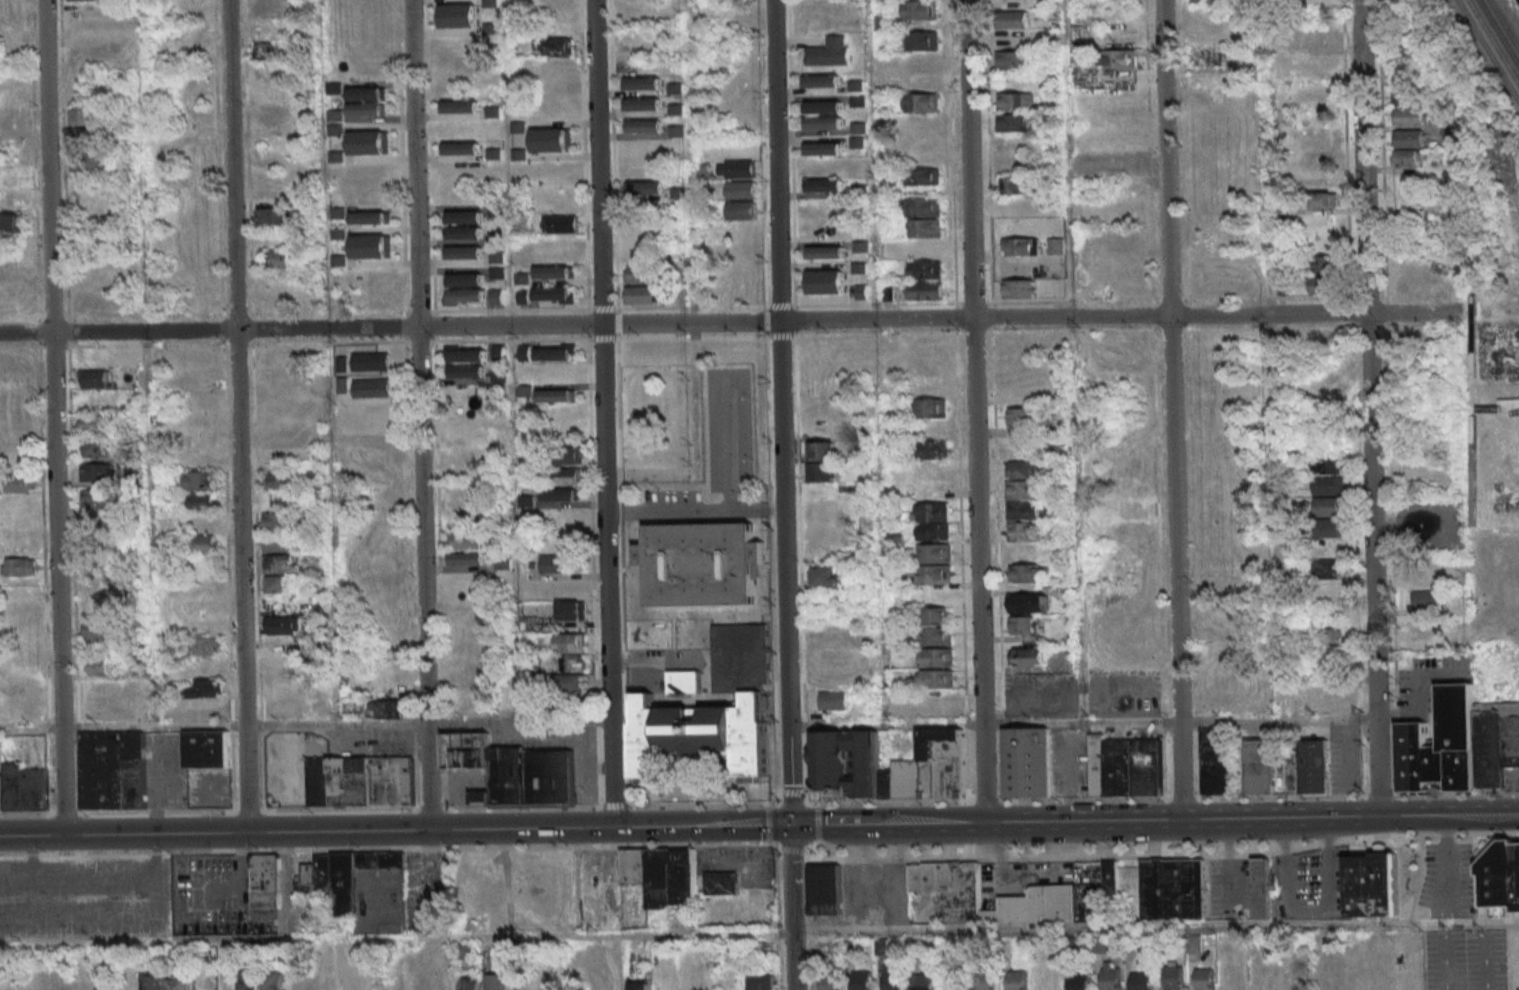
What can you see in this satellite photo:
building: (85, 0)
building: (1205, 0)
building: (491, 3)
building: (1012, 3)
building: (920, 11)
building: (459, 15)
building: (1012, 20)
railway: (1503, 26)
railway: (1497, 35)
building: (1313, 37)
building: (1010, 40)
building: (922, 41)
railway: (1493, 42)
building: (554, 46)
railway: (1488, 51)
building: (829, 52)
building: (266, 53)
building: (1407, 55)
building: (1209, 57)
building: (1119, 59)
building: (1013, 61)
building: (1406, 76)
building: (821, 80)
building: (923, 82)
building: (653, 84)
building: (368, 94)
building: (1406, 96)
building: (1016, 102)
building: (923, 103)
building: (644, 104)
building: (470, 108)
building: (677, 108)
building: (827, 108)
building: (370, 113)
building: (85, 116)
building: (1410, 117)
building: (1013, 123)
building: (829, 124)
building: (920, 124)
building: (647, 127)
building: (677, 131)
building: (85, 136)
building: (1408, 138)
building: (551, 139)
building: (369, 142)
building: (924, 146)
building: (822, 148)
building: (468, 149)
road: (1362, 156)
building: (1409, 161)
building: (90, 164)
building: (737, 169)
building: (923, 178)
building: (1014, 185)
building: (831, 186)
building: (646, 187)
building: (86, 189)
building: (742, 190)
building: (1324, 201)
building: (927, 208)
building: (822, 210)
building: (742, 211)
building: (370, 216)
building: (274, 218)
building: (468, 218)
building: (9, 224)
building: (564, 225)
building: (927, 230)
building: (742, 232)
building: (820, 232)
building: (468, 235)
building: (371, 246)
building: (1021, 246)
building: (1057, 246)
building: (566, 247)
building: (465, 252)
building: (744, 253)
building: (830, 254)
building: (278, 259)
building: (1323, 266)
building: (859, 267)
building: (926, 271)
building: (554, 272)
building: (741, 273)
building: (641, 274)
building: (522, 277)
building: (469, 281)
building: (824, 281)
building: (1324, 287)
building: (861, 291)
building: (1019, 292)
building: (927, 293)
building: (741, 295)
building: (525, 296)
building: (555, 296)
building: (641, 296)
building: (470, 297)
road: (1416, 312)
road: (683, 323)
building: (928, 347)
building: (549, 353)
building: (275, 355)
building: (467, 355)
building: (372, 361)
building: (467, 369)
building: (97, 382)
building: (373, 387)
building: (553, 396)
building: (122, 399)
road: (1170, 409)
road: (975, 410)
road: (781, 412)
building: (933, 412)
road: (601, 414)
road: (418, 415)
road: (236, 417)
road: (53, 418)
building: (1021, 419)
building: (97, 426)
building: (1023, 450)
building: (97, 451)
building: (934, 452)
building: (823, 455)
building: (568, 458)
building: (1326, 466)
building: (933, 470)
building: (1022, 472)
building: (316, 475)
building: (823, 475)
building: (98, 476)
building: (567, 478)
building: (280, 482)
building: (201, 483)
building: (19, 486)
building: (1329, 488)
building: (1023, 493)
building: (562, 495)
building: (99, 502)
building: (202, 505)
building: (279, 505)
building: (1328, 509)
road: (693, 511)
building: (1023, 513)
building: (934, 515)
road: (1370, 515)
building: (205, 522)
building: (279, 525)
parking lot: (1427, 528)
building: (1327, 529)
building: (936, 534)
building: (1024, 534)
building: (466, 541)
building: (281, 546)
building: (203, 547)
building: (1329, 551)
building: (1020, 554)
building: (935, 555)
building: (469, 561)
building: (203, 564)
building: (560, 566)
building: (278, 567)
building: (701, 567)
building: (22, 571)
building: (1329, 572)
building: (1425, 573)
building: (1025, 576)
building: (937, 577)
building: (825, 580)
building: (278, 587)
building: (1427, 602)
building: (1026, 604)
building: (20, 606)
building: (570, 614)
building: (934, 620)
building: (282, 627)
building: (1022, 628)
building: (1427, 631)
building: (100, 632)
building: (1328, 638)
building: (935, 640)
building: (568, 645)
building: (207, 650)
building: (1027, 659)
building: (937, 660)
building: (568, 664)
building: (103, 670)
building: (1331, 670)
building: (933, 682)
building: (685, 685)
building: (565, 686)
parking lot: (1426, 686)
building: (202, 691)
parking lot: (1086, 693)
building: (1322, 700)
building: (835, 703)
building: (353, 706)
building: (325, 707)
building: (206, 708)
building: (285, 708)
building: (386, 711)
building: (713, 714)
road: (1079, 721)
road: (517, 724)
road: (884, 726)
building: (1497, 747)
building: (1442, 748)
building: (208, 752)
building: (937, 763)
building: (1216, 763)
building: (843, 765)
building: (1026, 765)
road: (1375, 767)
building: (512, 769)
building: (1125, 769)
building: (1309, 769)
building: (1259, 770)
building: (113, 773)
road: (589, 775)
parking lot: (1514, 780)
building: (898, 781)
building: (362, 783)
building: (22, 790)
road: (767, 803)
road: (1481, 815)
road: (1409, 816)
road: (1119, 820)
road: (826, 824)
road: (749, 825)
traffic signals: (789, 825)
road: (614, 827)
road: (259, 833)
road: (760, 845)
road: (716, 864)
road: (1446, 869)
building: (1498, 873)
building: (659, 875)
building: (1109, 877)
building: (265, 881)
building: (721, 883)
building: (1367, 883)
building: (361, 887)
building: (824, 888)
building: (1171, 888)
building: (1262, 888)
building: (1052, 893)
parking lot: (83, 896)
building: (190, 896)
road: (792, 907)
road: (1457, 927)
road: (759, 932)
building: (1100, 944)
building: (465, 950)
building: (1110, 975)
building: (1355, 976)
building: (1384, 976)
building: (350, 977)
building: (1048, 977)
building: (1173, 977)
building: (891, 978)
building: (1203, 978)
building: (986, 979)
building: (1266, 979)
building: (250, 980)
building: (325, 980)
building: (861, 980)
building: (1017, 980)
building: (1300, 980)
building: (154, 981)
building: (274, 981)
building: (507, 981)
building: (830, 981)
building: (923, 981)
building: (1078, 981)
building: (1140, 981)
building: (1330, 981)
building: (179, 982)
building: (446, 982)
building: (760, 982)
building: (106, 983)
building: (471, 983)
building: (555, 984)
building: (625, 984)
building: (225, 985)

